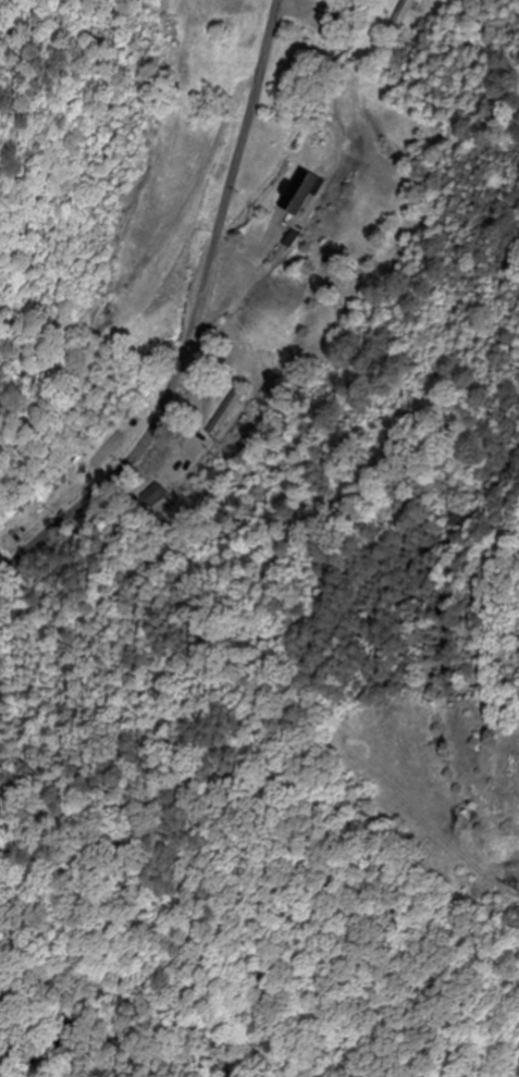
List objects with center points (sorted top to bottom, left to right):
building: (400, 17)
building: (331, 25)
building: (302, 69)
road: (193, 321)
building: (228, 410)
building: (156, 498)

